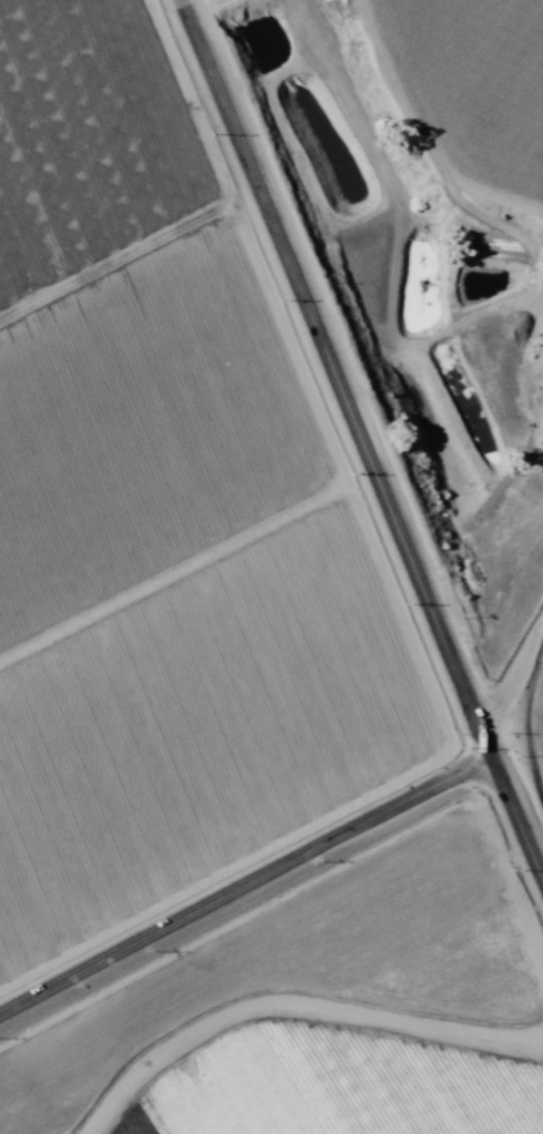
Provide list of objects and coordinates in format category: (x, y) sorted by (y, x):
road: (193, 2)
road: (359, 430)
crop: (271, 566)
road: (519, 692)
road: (247, 881)
road: (363, 1087)

